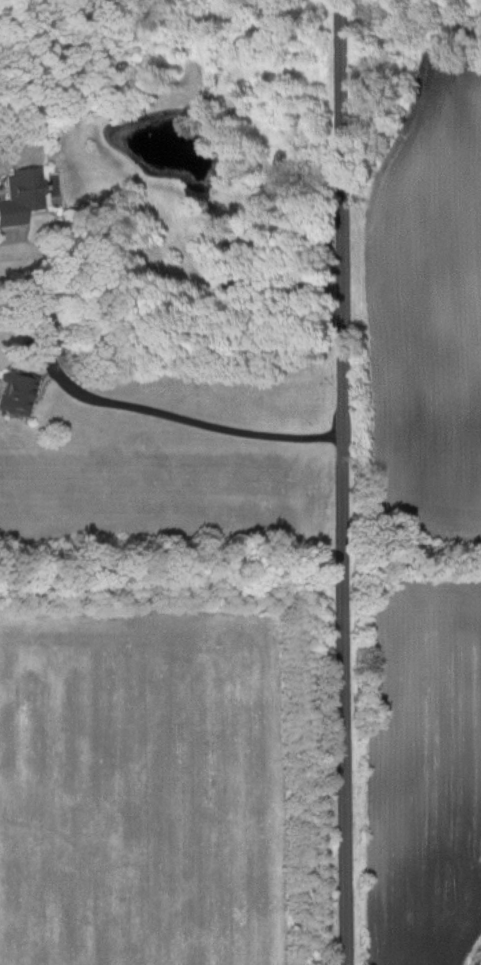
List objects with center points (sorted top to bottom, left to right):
building: (20, 197)
road: (168, 285)
building: (16, 392)
road: (191, 418)
road: (344, 482)

